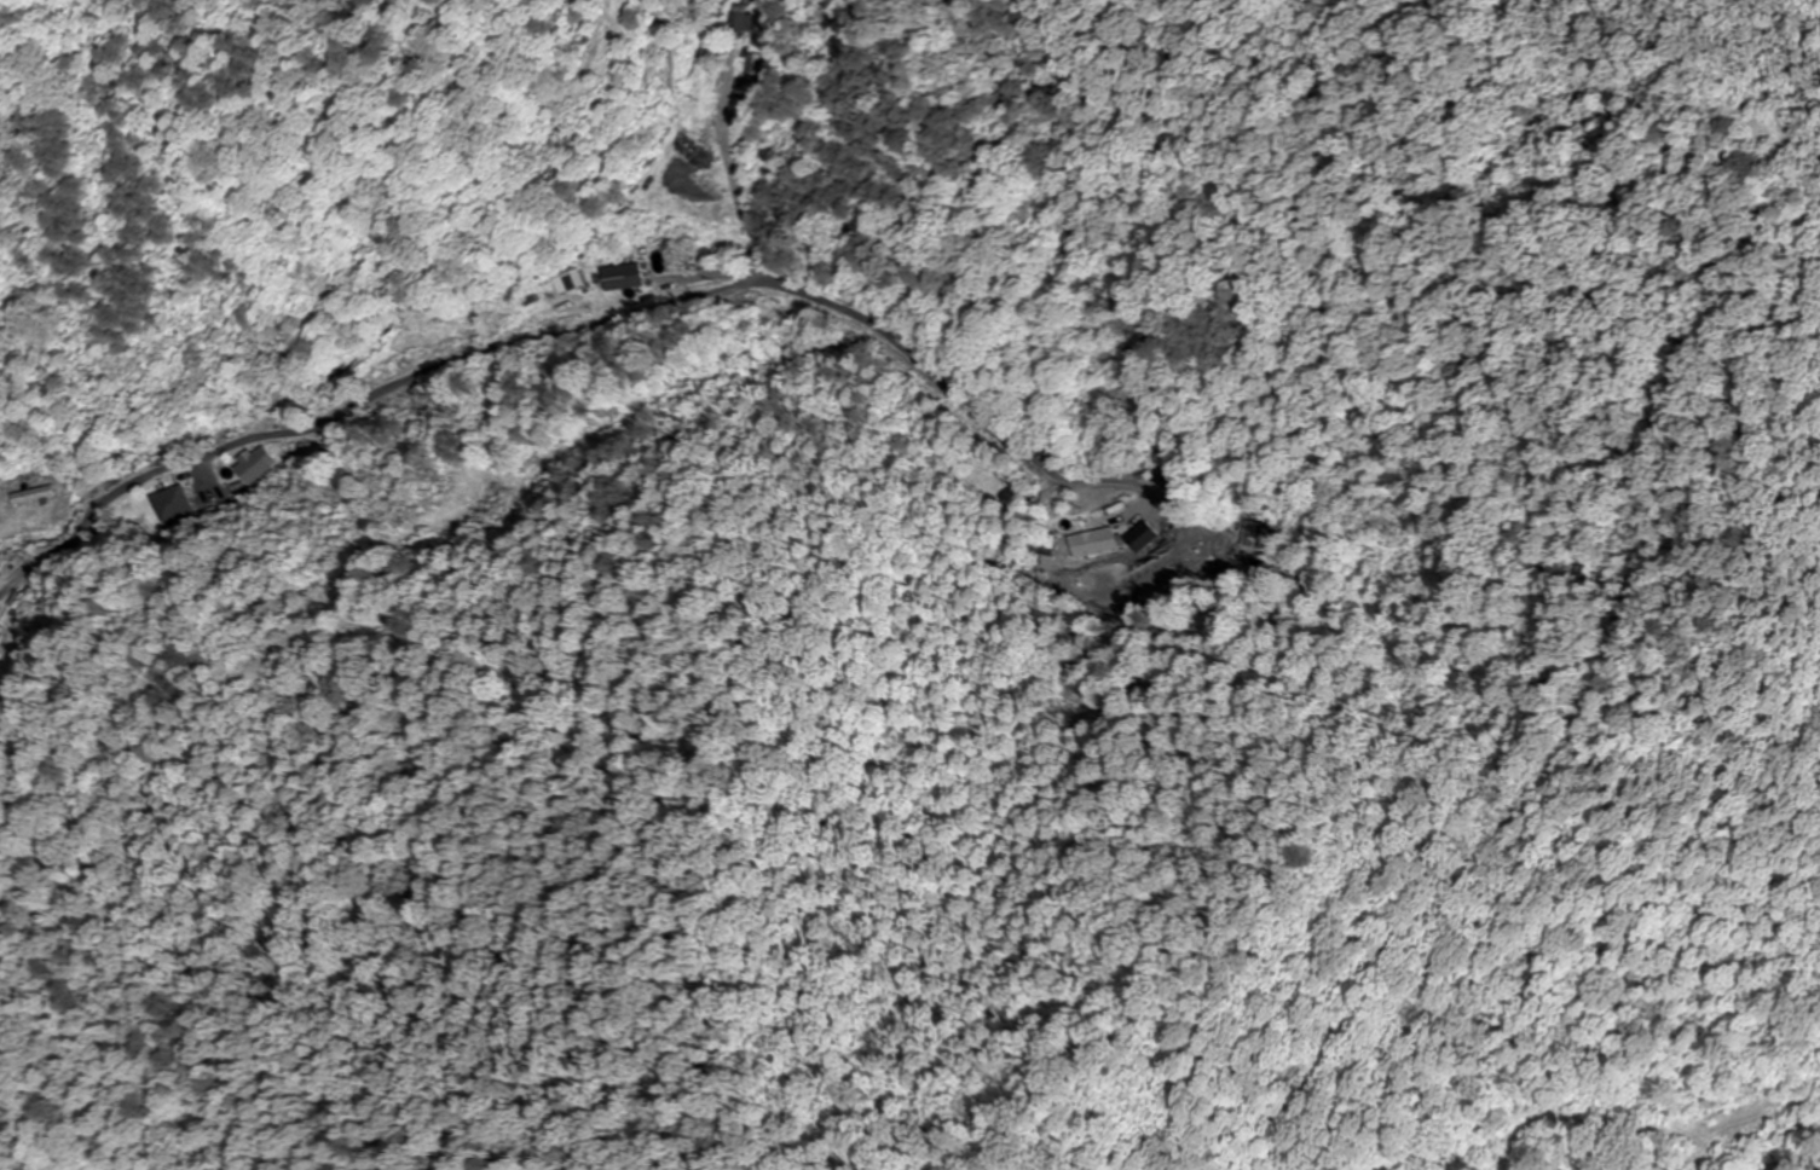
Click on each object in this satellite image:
building: (736, 23)
building: (751, 77)
building: (623, 277)
building: (574, 279)
road: (456, 352)
building: (256, 463)
building: (174, 504)
building: (1085, 539)
building: (24, 600)
building: (2, 637)
road: (1593, 702)

